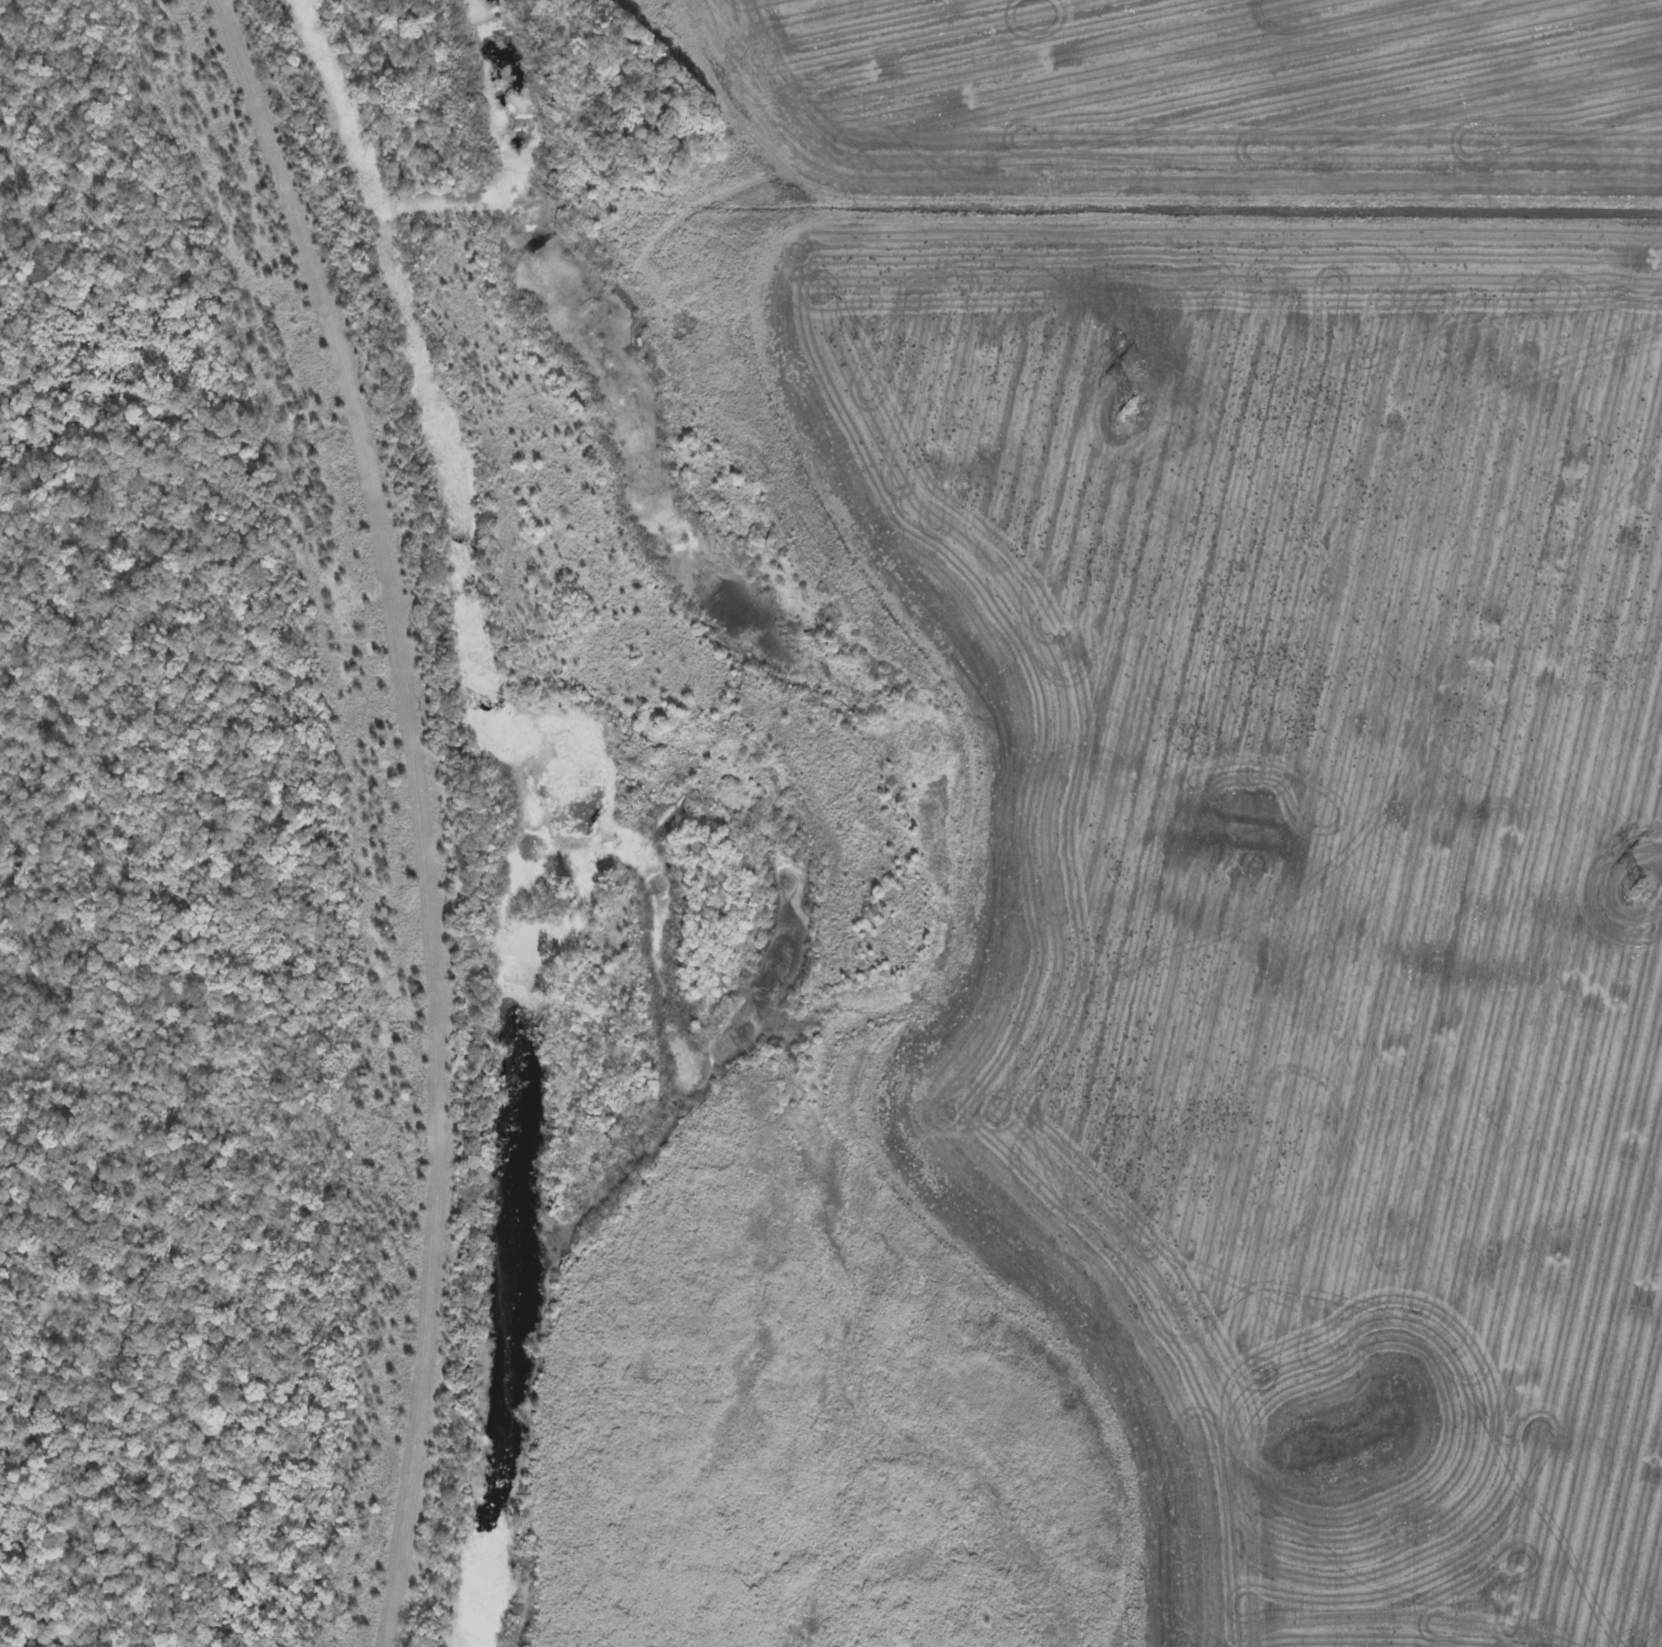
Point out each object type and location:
power tower: (1133, 401)
power tower: (1648, 887)

